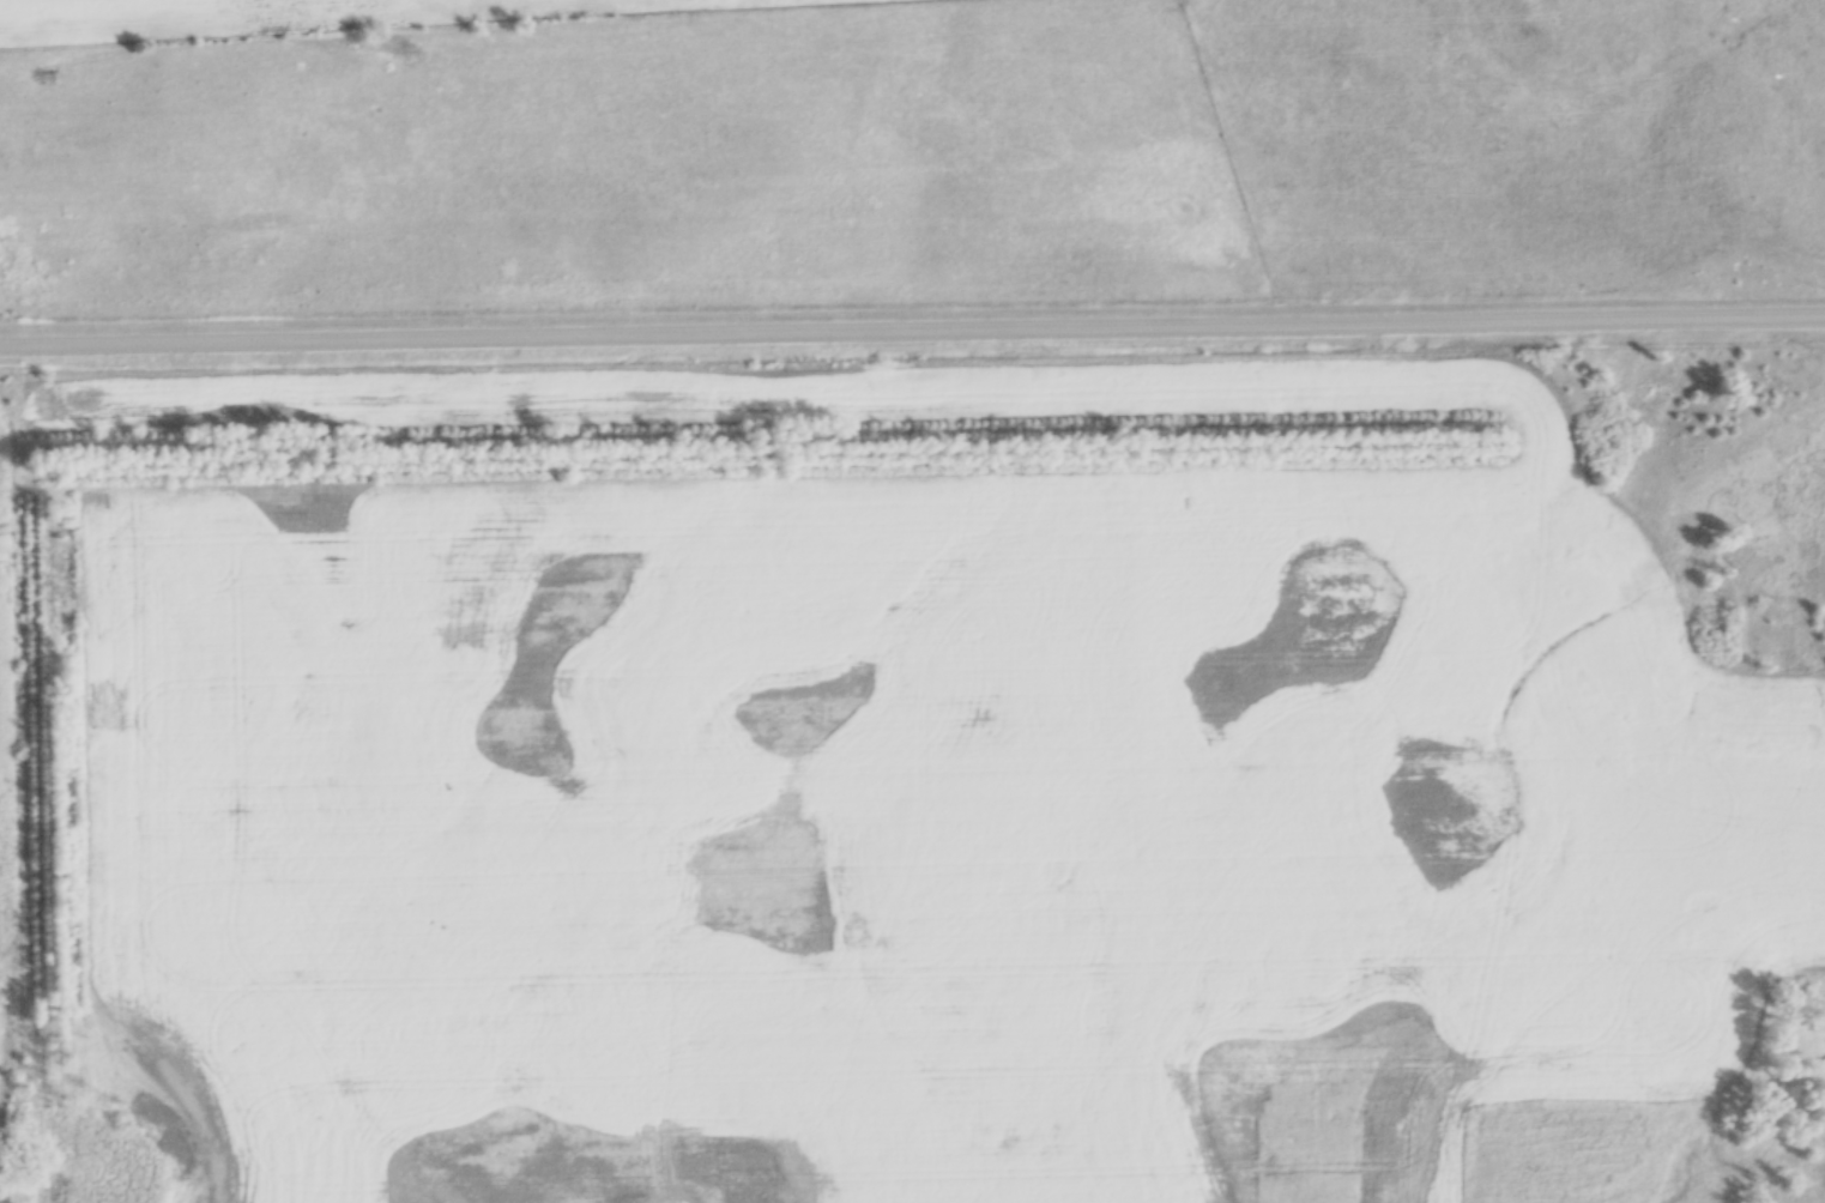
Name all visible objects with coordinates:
road: (912, 338)

